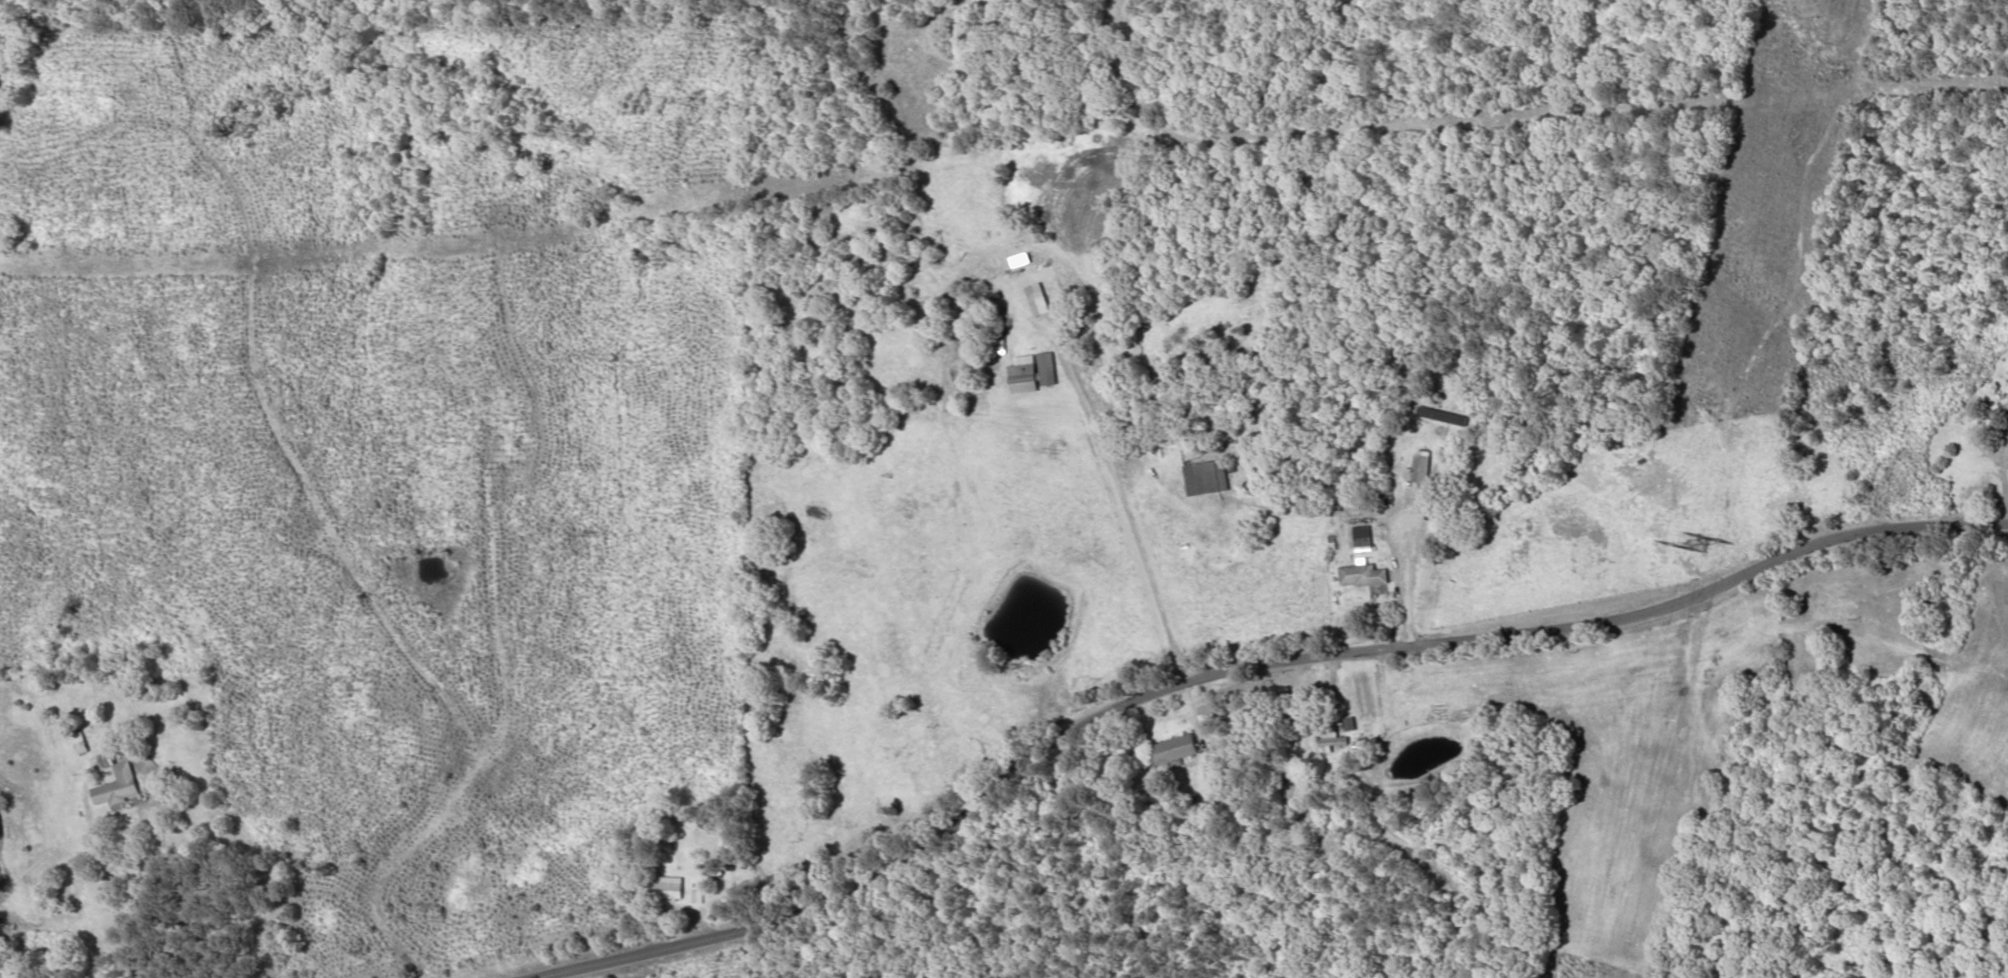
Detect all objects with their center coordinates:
building: (1037, 299)
building: (1421, 469)
building: (1207, 477)
building: (1363, 538)
power tower: (1713, 541)
building: (1363, 575)
road: (1366, 654)
building: (1208, 714)
building: (1351, 723)
building: (1175, 749)
building: (118, 782)
road: (153, 881)
building: (669, 887)
road: (656, 949)

